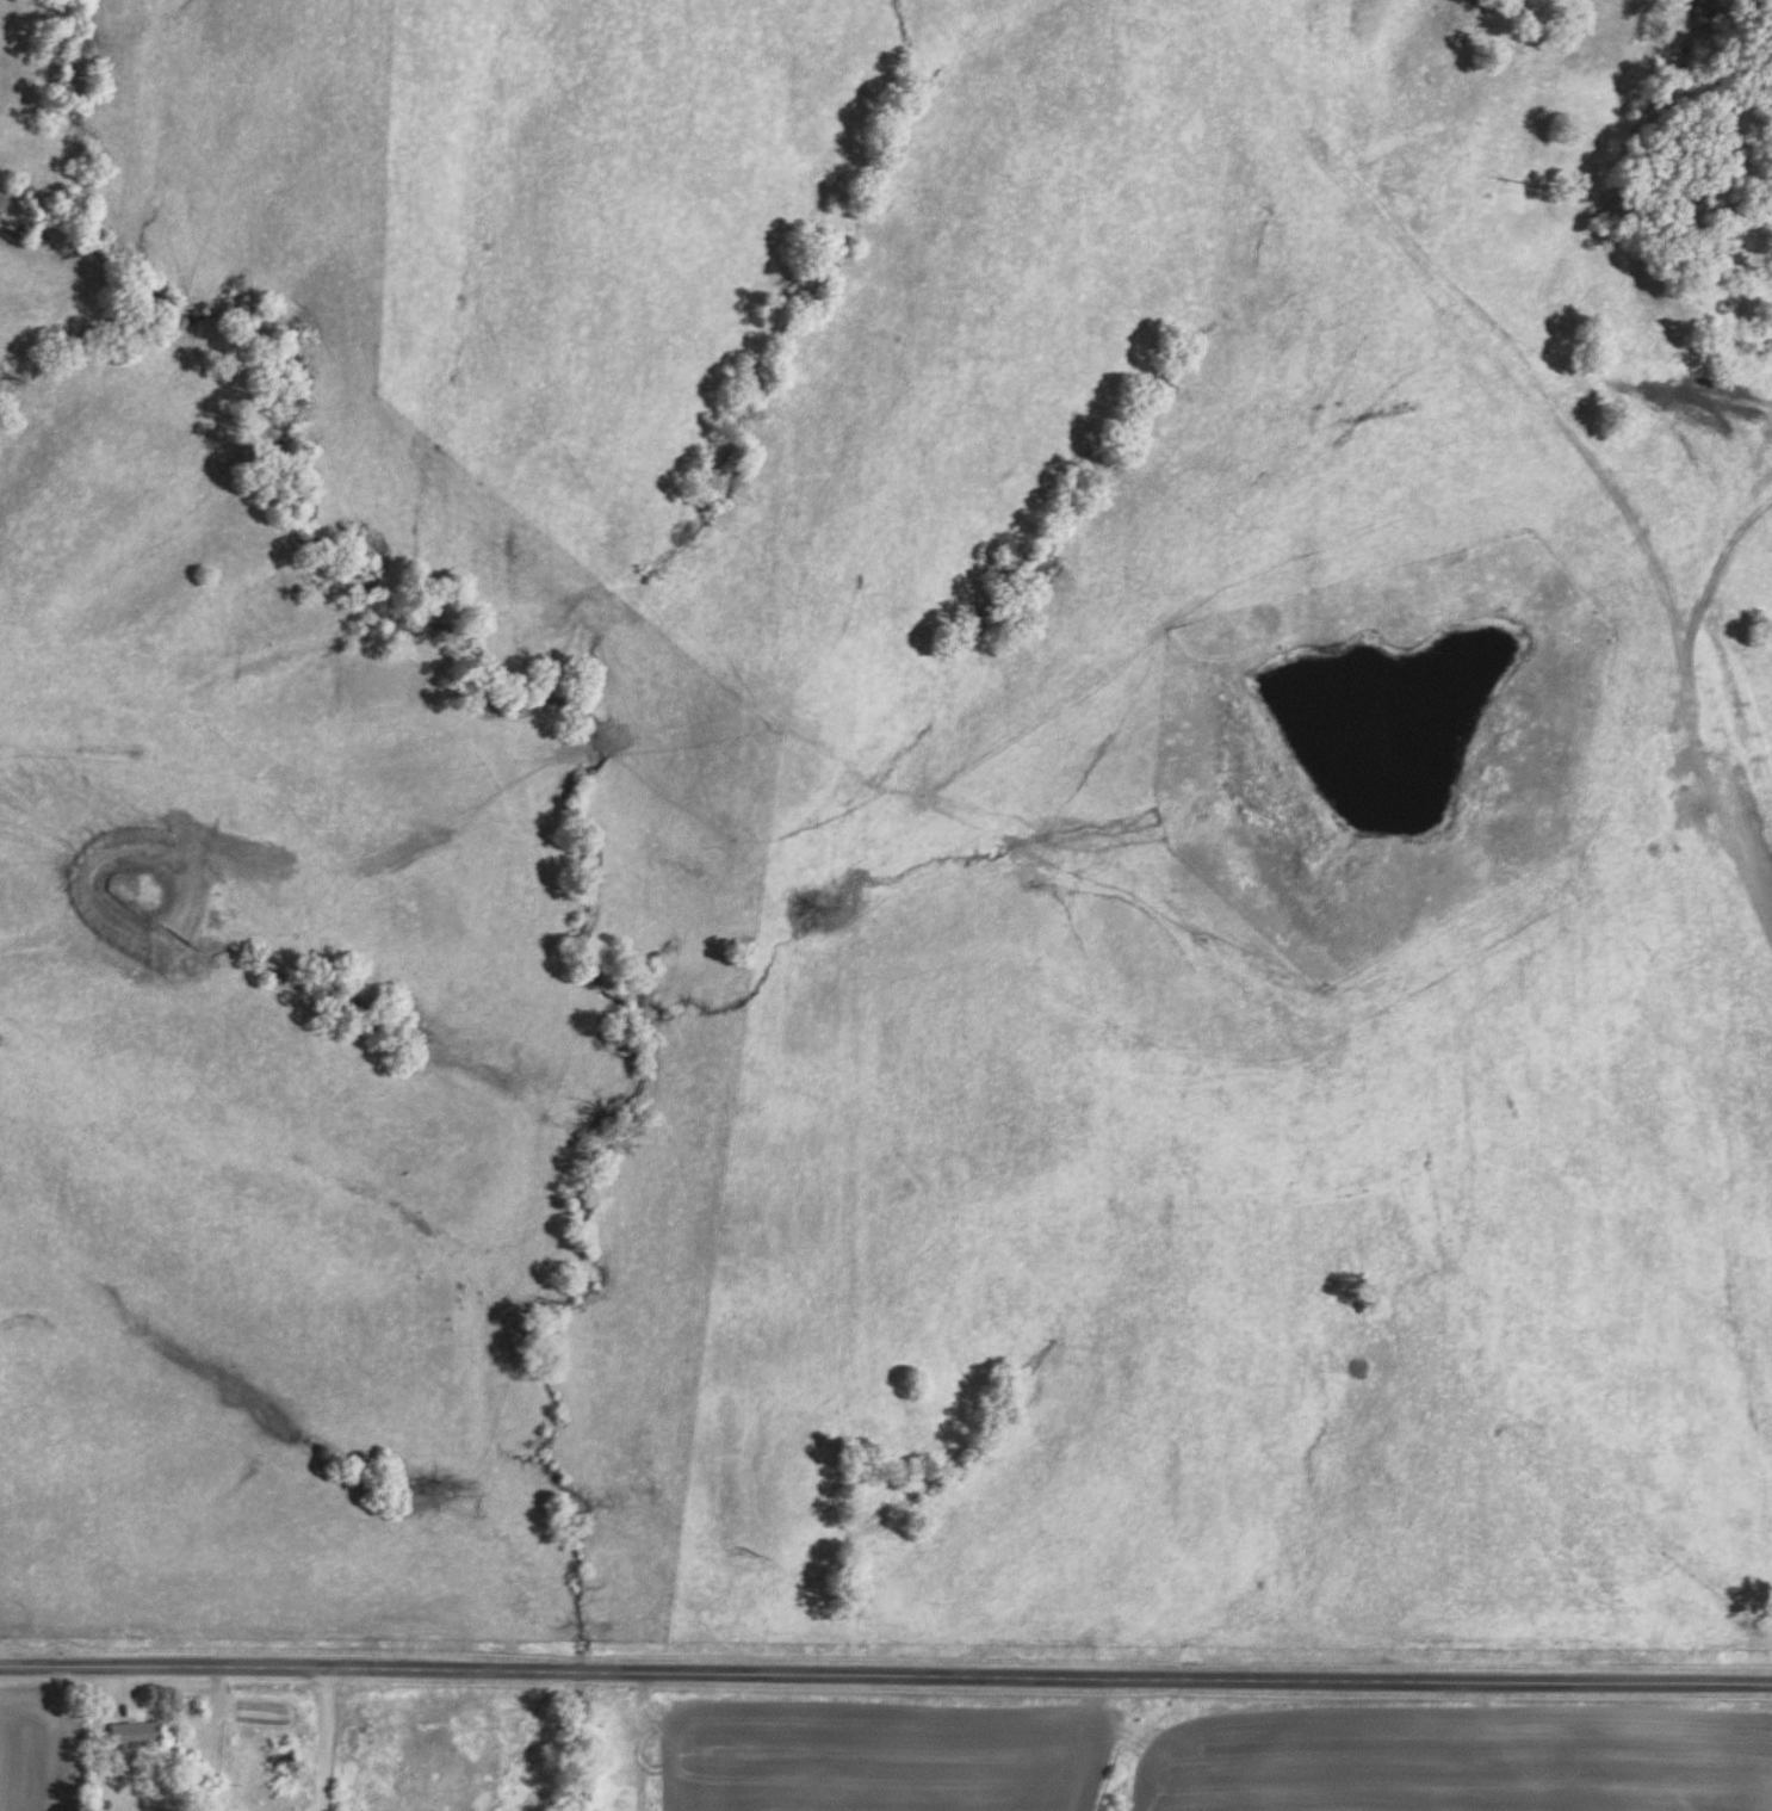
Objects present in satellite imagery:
road: (886, 1674)
building: (202, 1705)
building: (136, 1735)
road: (323, 1742)
building: (287, 1754)

